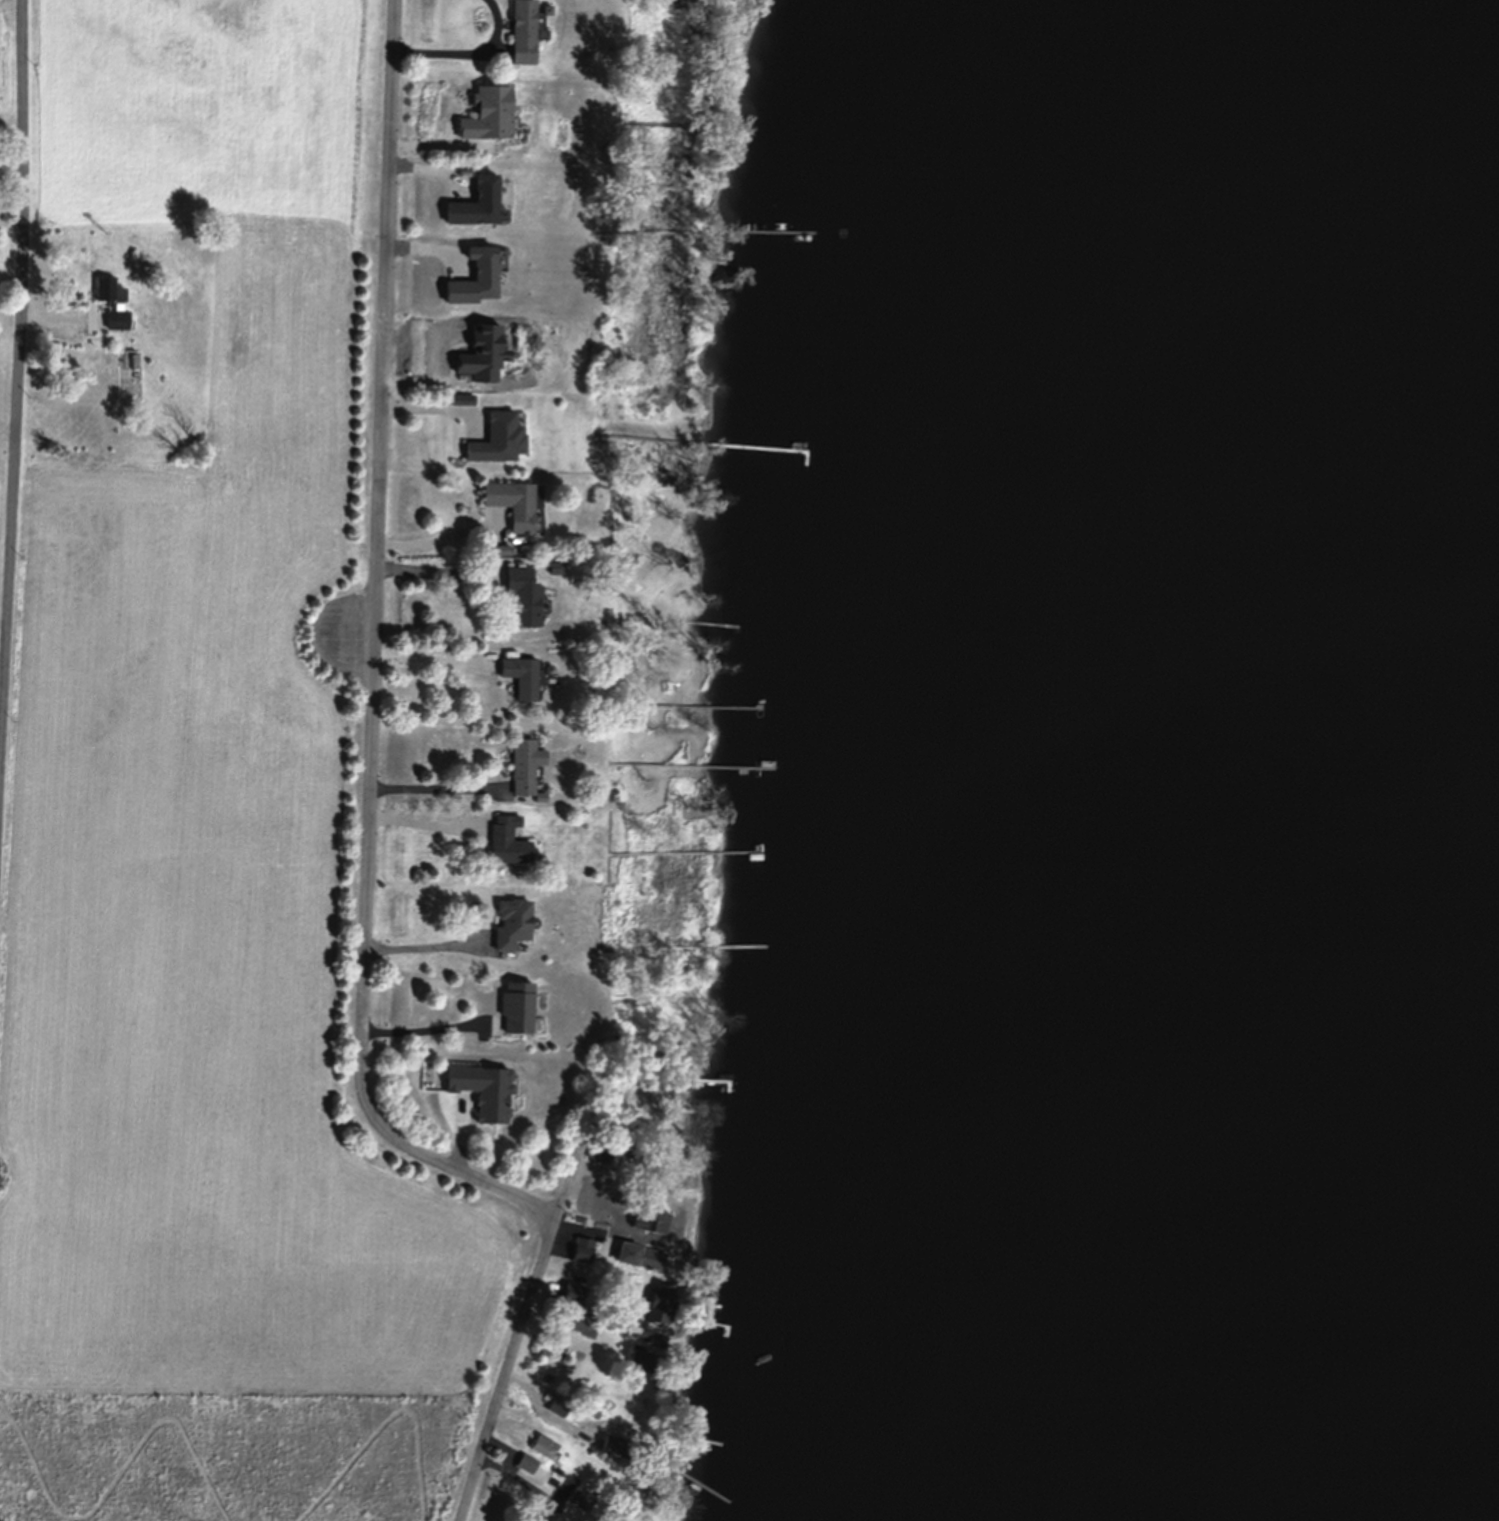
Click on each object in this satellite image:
building: (520, 31)
road: (466, 49)
building: (485, 113)
road: (13, 200)
building: (470, 203)
building: (470, 278)
building: (105, 290)
building: (115, 319)
road: (20, 402)
road: (434, 407)
building: (496, 438)
building: (510, 502)
road: (433, 539)
road: (433, 569)
building: (520, 595)
road: (430, 659)
road: (372, 668)
building: (519, 676)
building: (522, 765)
road: (426, 787)
road: (423, 821)
building: (505, 841)
building: (509, 922)
road: (422, 944)
building: (515, 1006)
road: (432, 1029)
building: (602, 1149)
building: (651, 1221)
building: (582, 1249)
building: (637, 1256)
building: (573, 1293)
building: (579, 1322)
road: (522, 1328)
building: (541, 1446)
park: (233, 1454)
building: (523, 1463)
building: (574, 1497)

